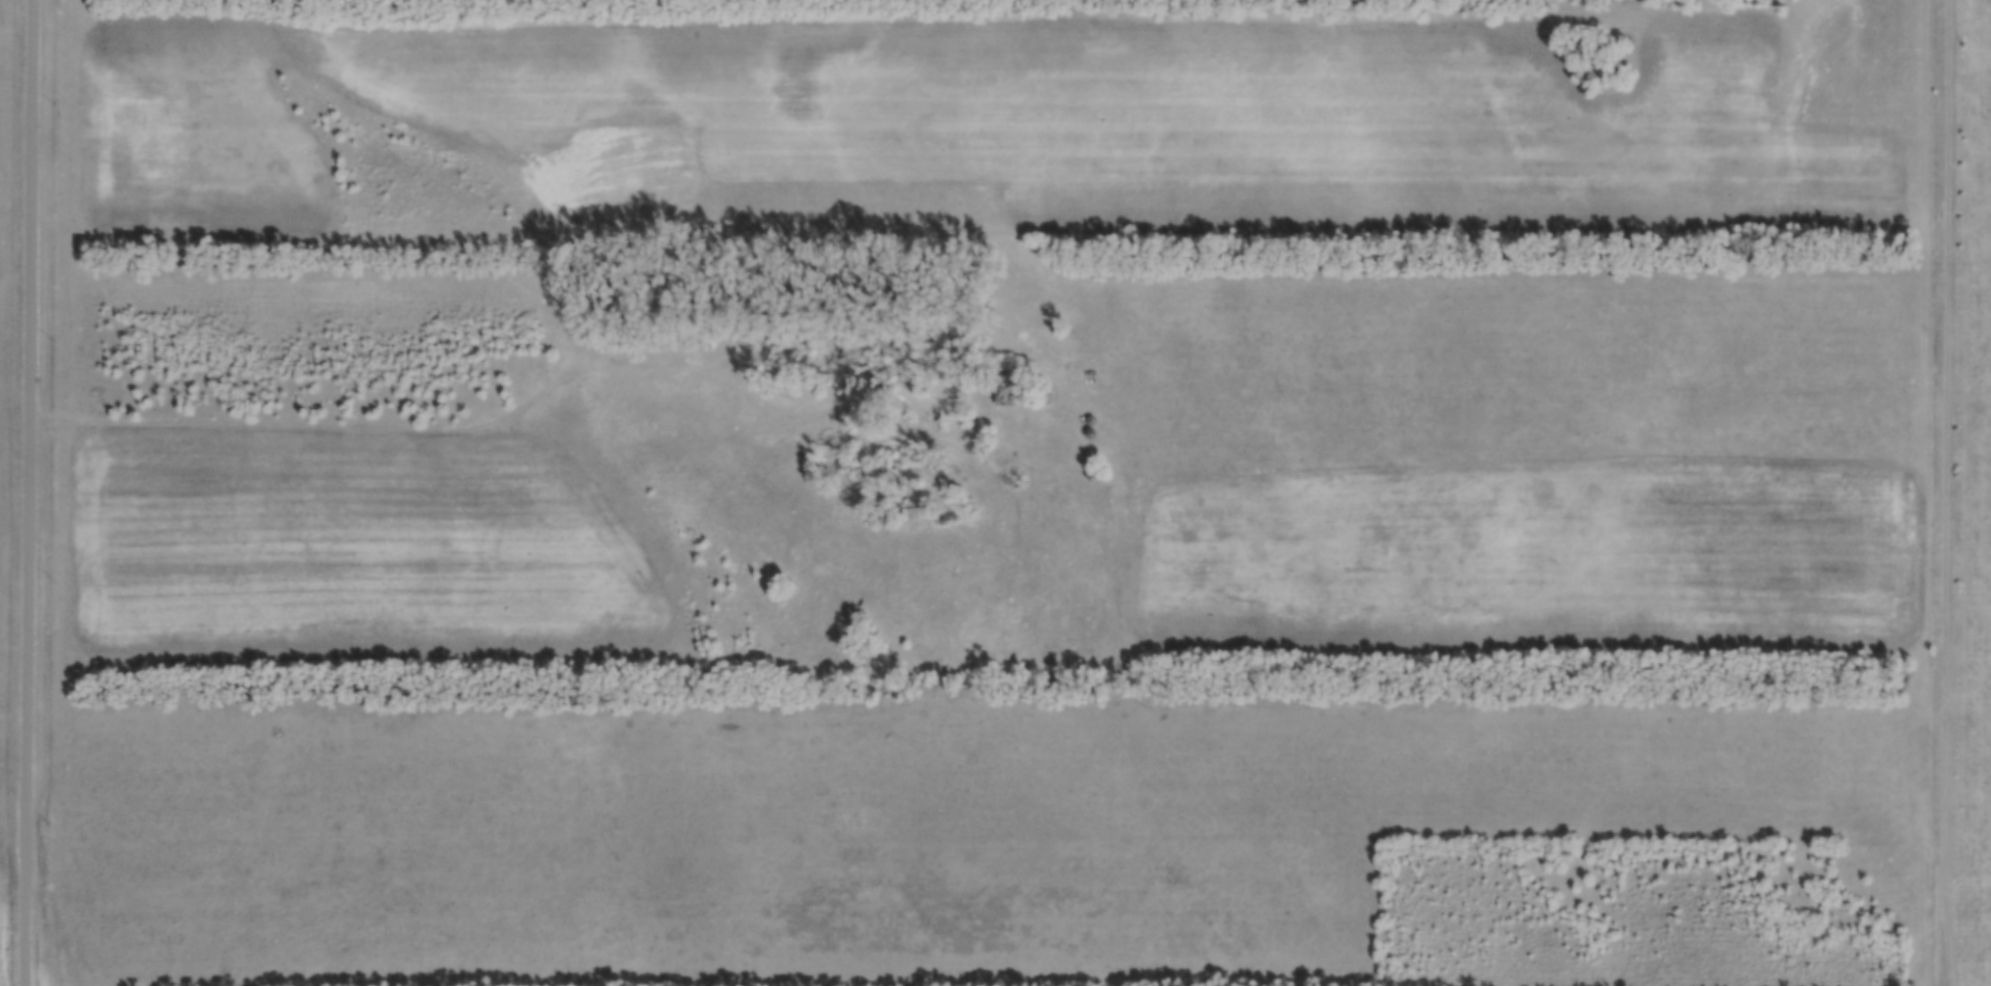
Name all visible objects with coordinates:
road: (566, 384)
building: (1022, 434)
road: (1953, 480)
road: (31, 493)

